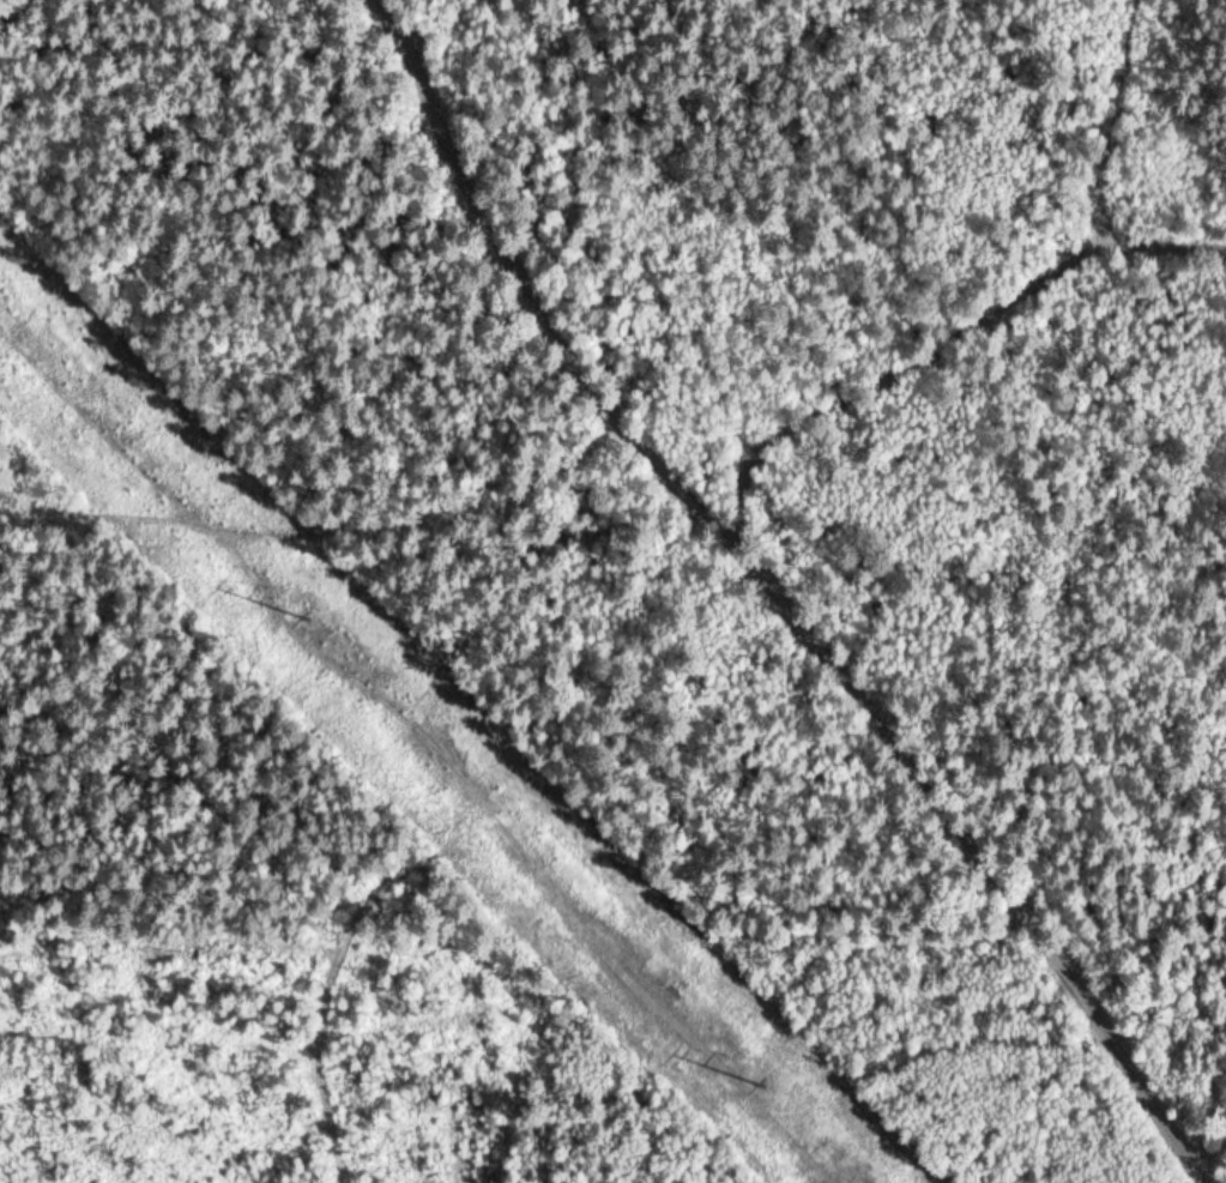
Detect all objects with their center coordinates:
road: (1027, 445)
road: (809, 584)
power tower: (308, 617)
power tower: (766, 1087)

